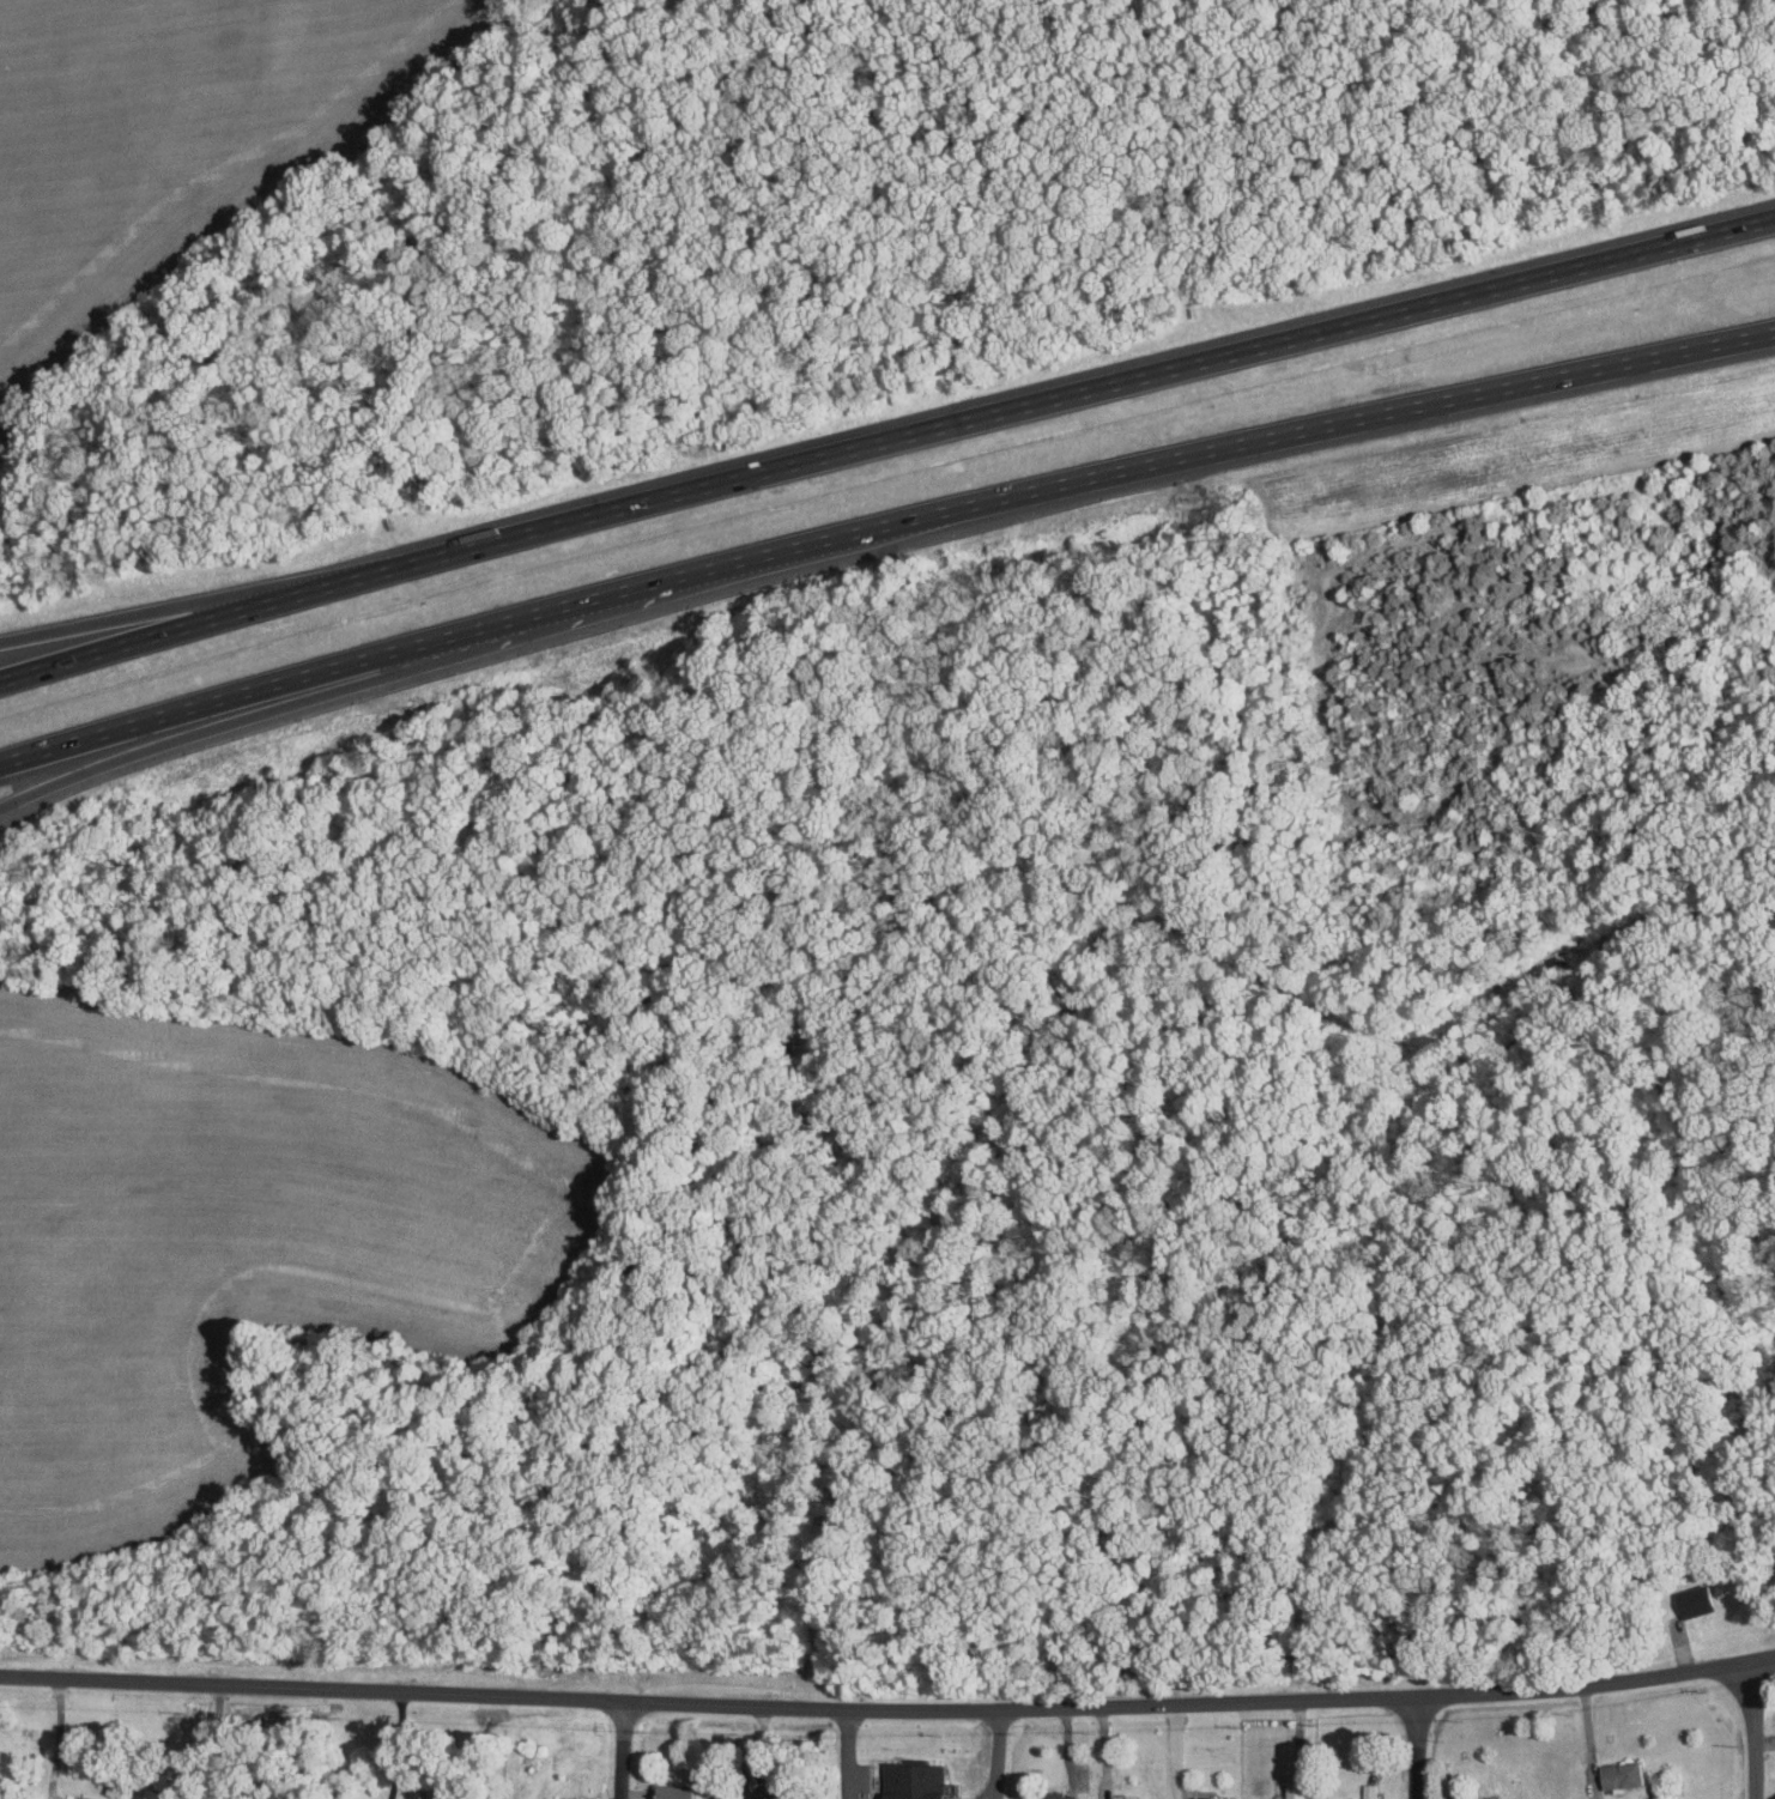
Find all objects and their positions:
crop: (165, 145)
road: (885, 448)
road: (882, 531)
road: (241, 596)
road: (133, 759)
building: (1691, 1600)
road: (887, 1708)
road: (1747, 1731)
road: (1588, 1737)
road: (59, 1739)
road: (208, 1743)
road: (400, 1746)
road: (1424, 1749)
road: (624, 1751)
road: (847, 1753)
road: (998, 1755)
building: (1617, 1774)
building: (907, 1780)
building: (1295, 1791)
building: (671, 1792)
building: (1367, 1792)
building: (1052, 1794)
building: (91, 1798)
building: (120, 1798)
building: (582, 1798)
building: (1204, 1798)

